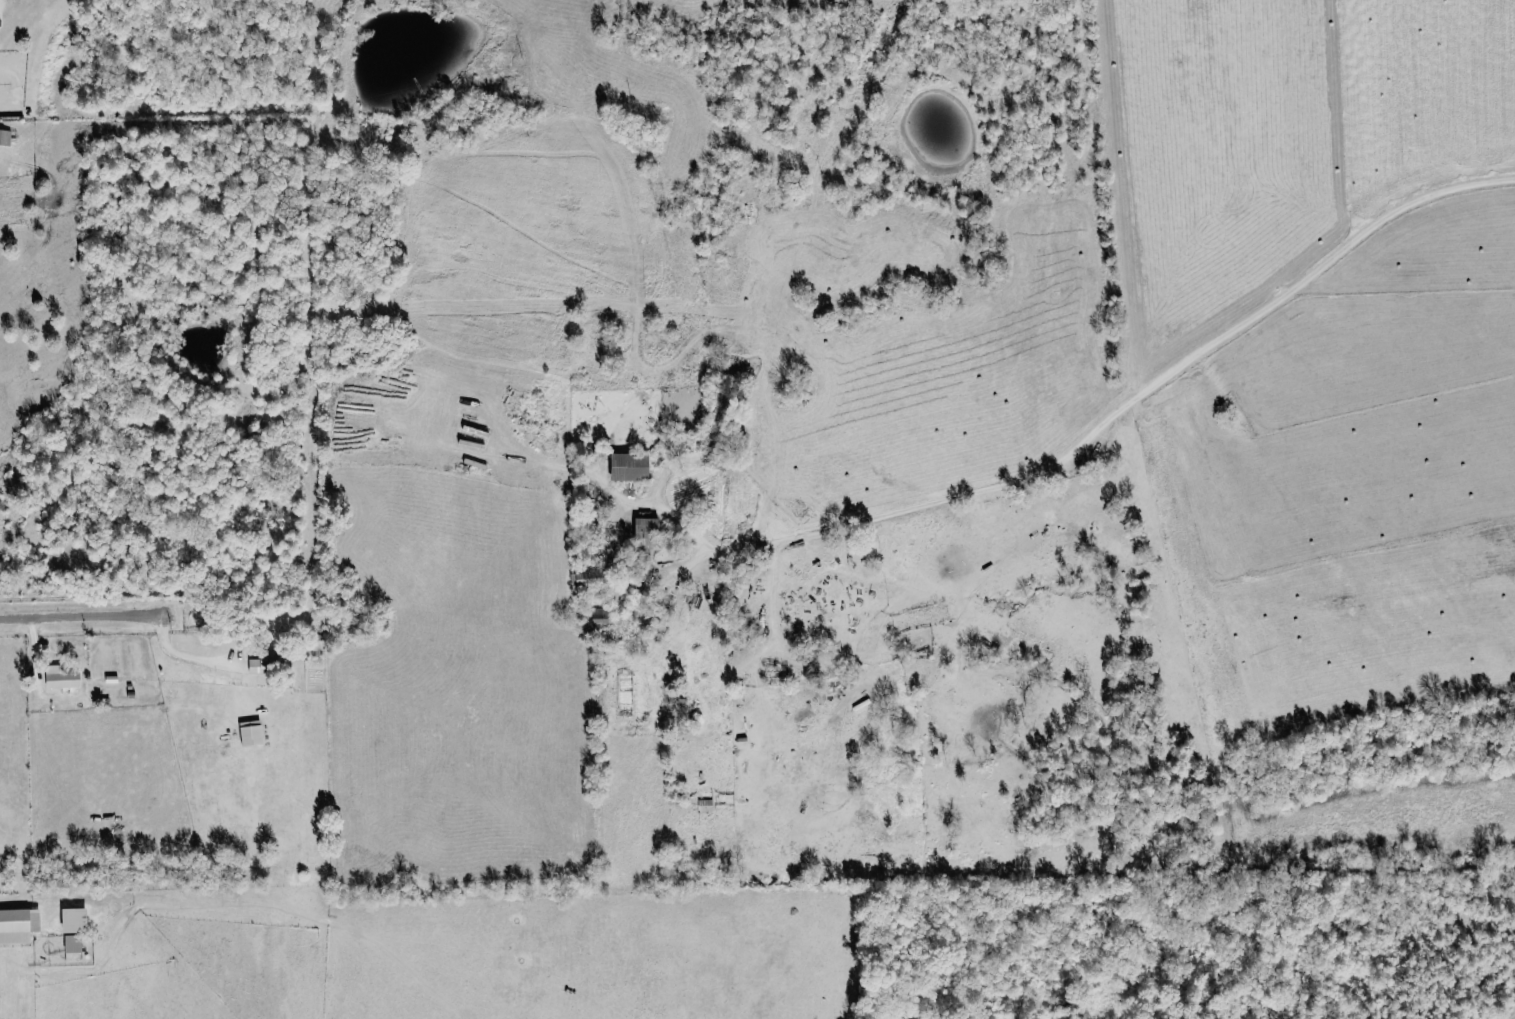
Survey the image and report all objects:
building: (5, 137)
road: (1151, 380)
building: (631, 467)
building: (646, 533)
road: (29, 618)
road: (156, 619)
building: (603, 623)
building: (259, 666)
building: (62, 678)
building: (685, 713)
building: (252, 733)
building: (75, 921)
building: (19, 926)
building: (74, 944)

